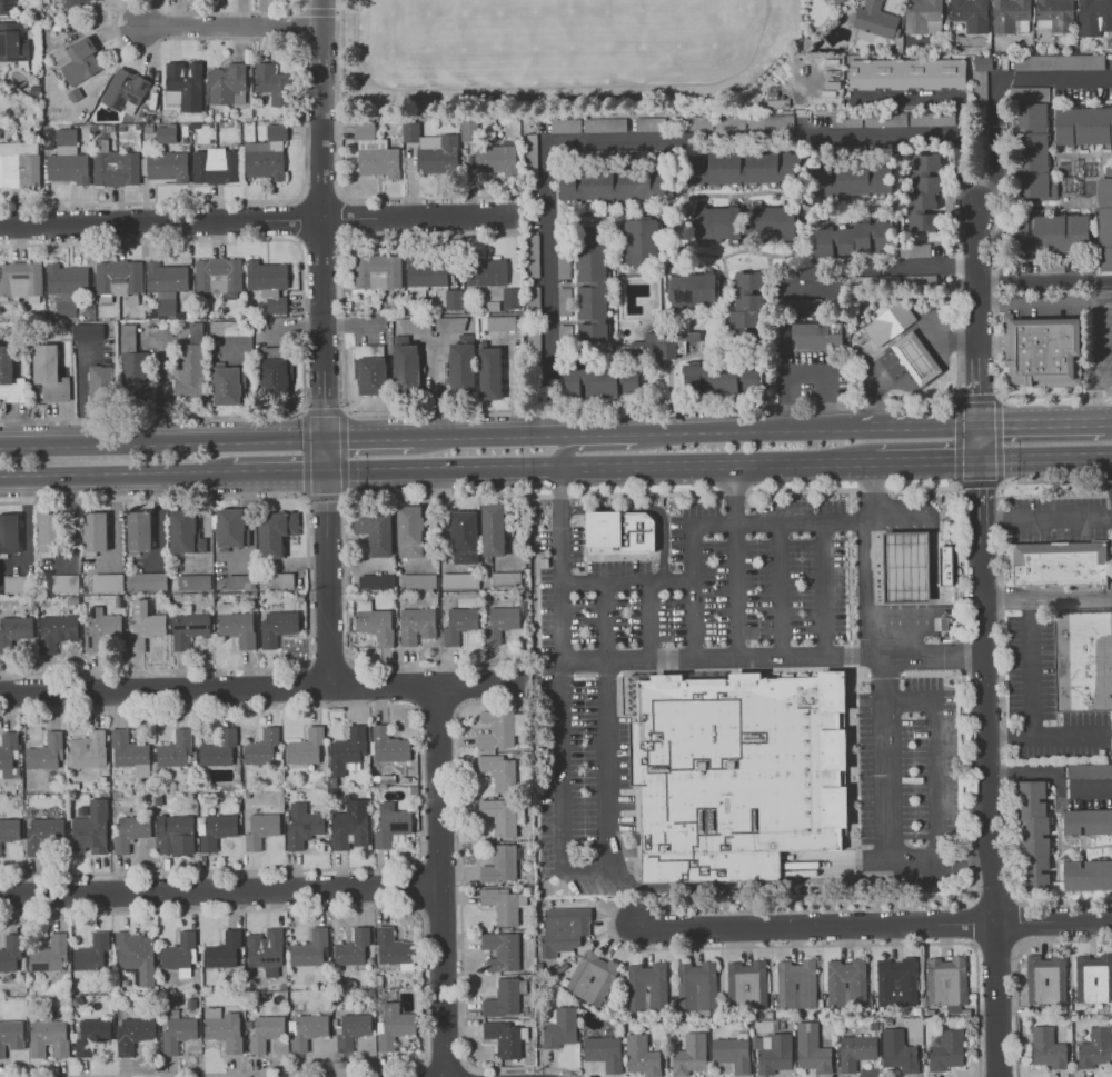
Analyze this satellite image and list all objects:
building: (97, 0)
building: (838, 1)
building: (77, 6)
building: (7, 7)
road: (317, 10)
building: (971, 14)
building: (1055, 14)
building: (1011, 16)
building: (923, 17)
building: (1094, 17)
building: (876, 20)
road: (298, 24)
building: (57, 28)
road: (234, 28)
building: (14, 42)
road: (305, 61)
building: (1059, 62)
building: (78, 64)
building: (906, 73)
building: (980, 80)
building: (2, 81)
building: (230, 82)
building: (276, 84)
building: (185, 86)
building: (0, 88)
road: (997, 89)
building: (36, 90)
building: (126, 91)
building: (1029, 93)
road: (925, 98)
building: (910, 119)
building: (649, 123)
building: (588, 124)
building: (1083, 126)
building: (469, 130)
building: (364, 131)
building: (411, 132)
building: (166, 134)
building: (1033, 137)
road: (644, 139)
building: (437, 162)
building: (496, 162)
building: (379, 163)
building: (265, 166)
building: (168, 167)
building: (216, 167)
building: (68, 168)
building: (744, 168)
building: (117, 169)
building: (19, 170)
building: (851, 180)
road: (339, 185)
building: (615, 185)
building: (1037, 187)
building: (922, 188)
road: (320, 205)
road: (417, 218)
building: (1104, 219)
building: (771, 221)
road: (160, 222)
building: (718, 223)
building: (1050, 233)
building: (853, 238)
building: (642, 241)
building: (533, 255)
building: (563, 263)
road: (876, 268)
building: (427, 271)
building: (378, 272)
building: (487, 272)
building: (267, 273)
building: (804, 273)
building: (166, 275)
building: (118, 276)
building: (219, 276)
building: (68, 277)
building: (20, 279)
road: (1044, 279)
road: (976, 280)
building: (592, 285)
building: (693, 288)
road: (1104, 295)
road: (1036, 297)
building: (512, 299)
building: (746, 299)
building: (454, 300)
building: (564, 301)
building: (804, 306)
building: (66, 309)
building: (888, 321)
building: (450, 323)
building: (502, 323)
building: (416, 325)
building: (225, 327)
road: (304, 328)
building: (87, 331)
building: (815, 335)
road: (935, 335)
building: (565, 336)
building: (668, 342)
road: (951, 342)
road: (906, 347)
building: (1041, 349)
building: (534, 351)
building: (914, 358)
road: (1096, 359)
building: (189, 360)
road: (886, 366)
building: (132, 367)
road: (921, 367)
building: (461, 369)
building: (406, 370)
building: (49, 372)
building: (490, 373)
building: (373, 376)
building: (9, 377)
building: (276, 378)
building: (721, 379)
building: (590, 380)
building: (631, 381)
building: (101, 385)
building: (227, 386)
road: (874, 387)
road: (163, 389)
road: (976, 390)
road: (83, 393)
road: (1054, 393)
road: (956, 397)
traffic signals: (979, 399)
traffic signals: (325, 409)
road: (300, 410)
traffic signals: (1001, 422)
road: (1040, 422)
road: (1109, 422)
road: (922, 425)
road: (777, 430)
road: (676, 432)
road: (537, 436)
road: (976, 440)
road: (366, 441)
traffic signals: (349, 442)
road: (607, 446)
road: (161, 447)
road: (1044, 457)
road: (925, 459)
traffic signals: (954, 459)
road: (715, 463)
road: (441, 467)
road: (278, 470)
traffic signals: (302, 470)
road: (116, 472)
traffic signals: (977, 487)
road: (734, 492)
road: (345, 495)
road: (375, 498)
road: (302, 499)
road: (977, 500)
traffic signals: (325, 501)
road: (646, 508)
road: (1044, 520)
road: (716, 525)
building: (229, 528)
building: (409, 530)
building: (493, 530)
building: (95, 531)
building: (138, 531)
building: (275, 531)
building: (9, 532)
building: (48, 532)
building: (183, 532)
building: (375, 532)
building: (622, 532)
building: (464, 536)
road: (326, 547)
road: (872, 558)
road: (736, 560)
building: (944, 566)
building: (1063, 566)
building: (909, 567)
gas station: (909, 567)
road: (906, 570)
building: (505, 578)
building: (276, 579)
building: (146, 580)
building: (192, 580)
building: (417, 580)
building: (459, 580)
building: (107, 581)
building: (375, 581)
building: (17, 582)
building: (62, 582)
road: (627, 584)
road: (308, 585)
road: (824, 589)
road: (781, 590)
road: (1046, 598)
road: (651, 620)
building: (374, 621)
building: (500, 621)
building: (458, 624)
building: (143, 625)
building: (235, 625)
building: (416, 625)
building: (277, 627)
building: (188, 628)
building: (99, 629)
road: (848, 629)
building: (13, 630)
building: (54, 631)
road: (773, 657)
building: (1088, 664)
road: (724, 671)
road: (616, 672)
road: (907, 672)
road: (1002, 682)
road: (261, 688)
road: (1031, 690)
building: (499, 728)
road: (1071, 735)
building: (388, 745)
building: (305, 746)
building: (261, 747)
building: (87, 749)
building: (175, 749)
building: (218, 749)
building: (346, 750)
building: (7, 752)
building: (44, 752)
building: (129, 752)
road: (934, 759)
building: (1089, 770)
building: (498, 771)
road: (852, 771)
road: (1051, 772)
building: (736, 778)
road: (888, 809)
road: (986, 809)
building: (499, 815)
building: (1086, 821)
building: (389, 822)
building: (301, 825)
building: (349, 825)
building: (9, 829)
building: (90, 829)
building: (260, 829)
building: (214, 830)
building: (130, 831)
building: (170, 831)
building: (42, 832)
road: (563, 836)
building: (1033, 836)
building: (500, 865)
building: (1088, 875)
road: (437, 881)
road: (219, 892)
building: (503, 904)
road: (875, 923)
building: (563, 929)
road: (460, 933)
building: (391, 946)
building: (351, 947)
building: (310, 948)
building: (222, 949)
building: (502, 949)
building: (265, 950)
building: (10, 951)
building: (91, 953)
building: (179, 953)
building: (49, 954)
building: (136, 956)
road: (1015, 963)
building: (590, 977)
building: (1093, 977)
building: (1044, 978)
building: (895, 980)
building: (945, 980)
building: (845, 983)
building: (746, 984)
building: (795, 984)
building: (696, 985)
building: (645, 986)
building: (505, 997)
building: (393, 1025)
building: (222, 1027)
building: (558, 1027)
building: (306, 1029)
building: (350, 1029)
building: (177, 1031)
building: (265, 1031)
building: (132, 1033)
building: (90, 1035)
building: (10, 1036)
building: (48, 1037)
building: (504, 1038)
building: (1046, 1047)
building: (1095, 1047)
building: (811, 1048)
building: (855, 1050)
building: (897, 1050)
building: (946, 1050)
building: (603, 1051)
building: (772, 1051)
building: (732, 1053)
building: (689, 1054)
building: (642, 1056)

